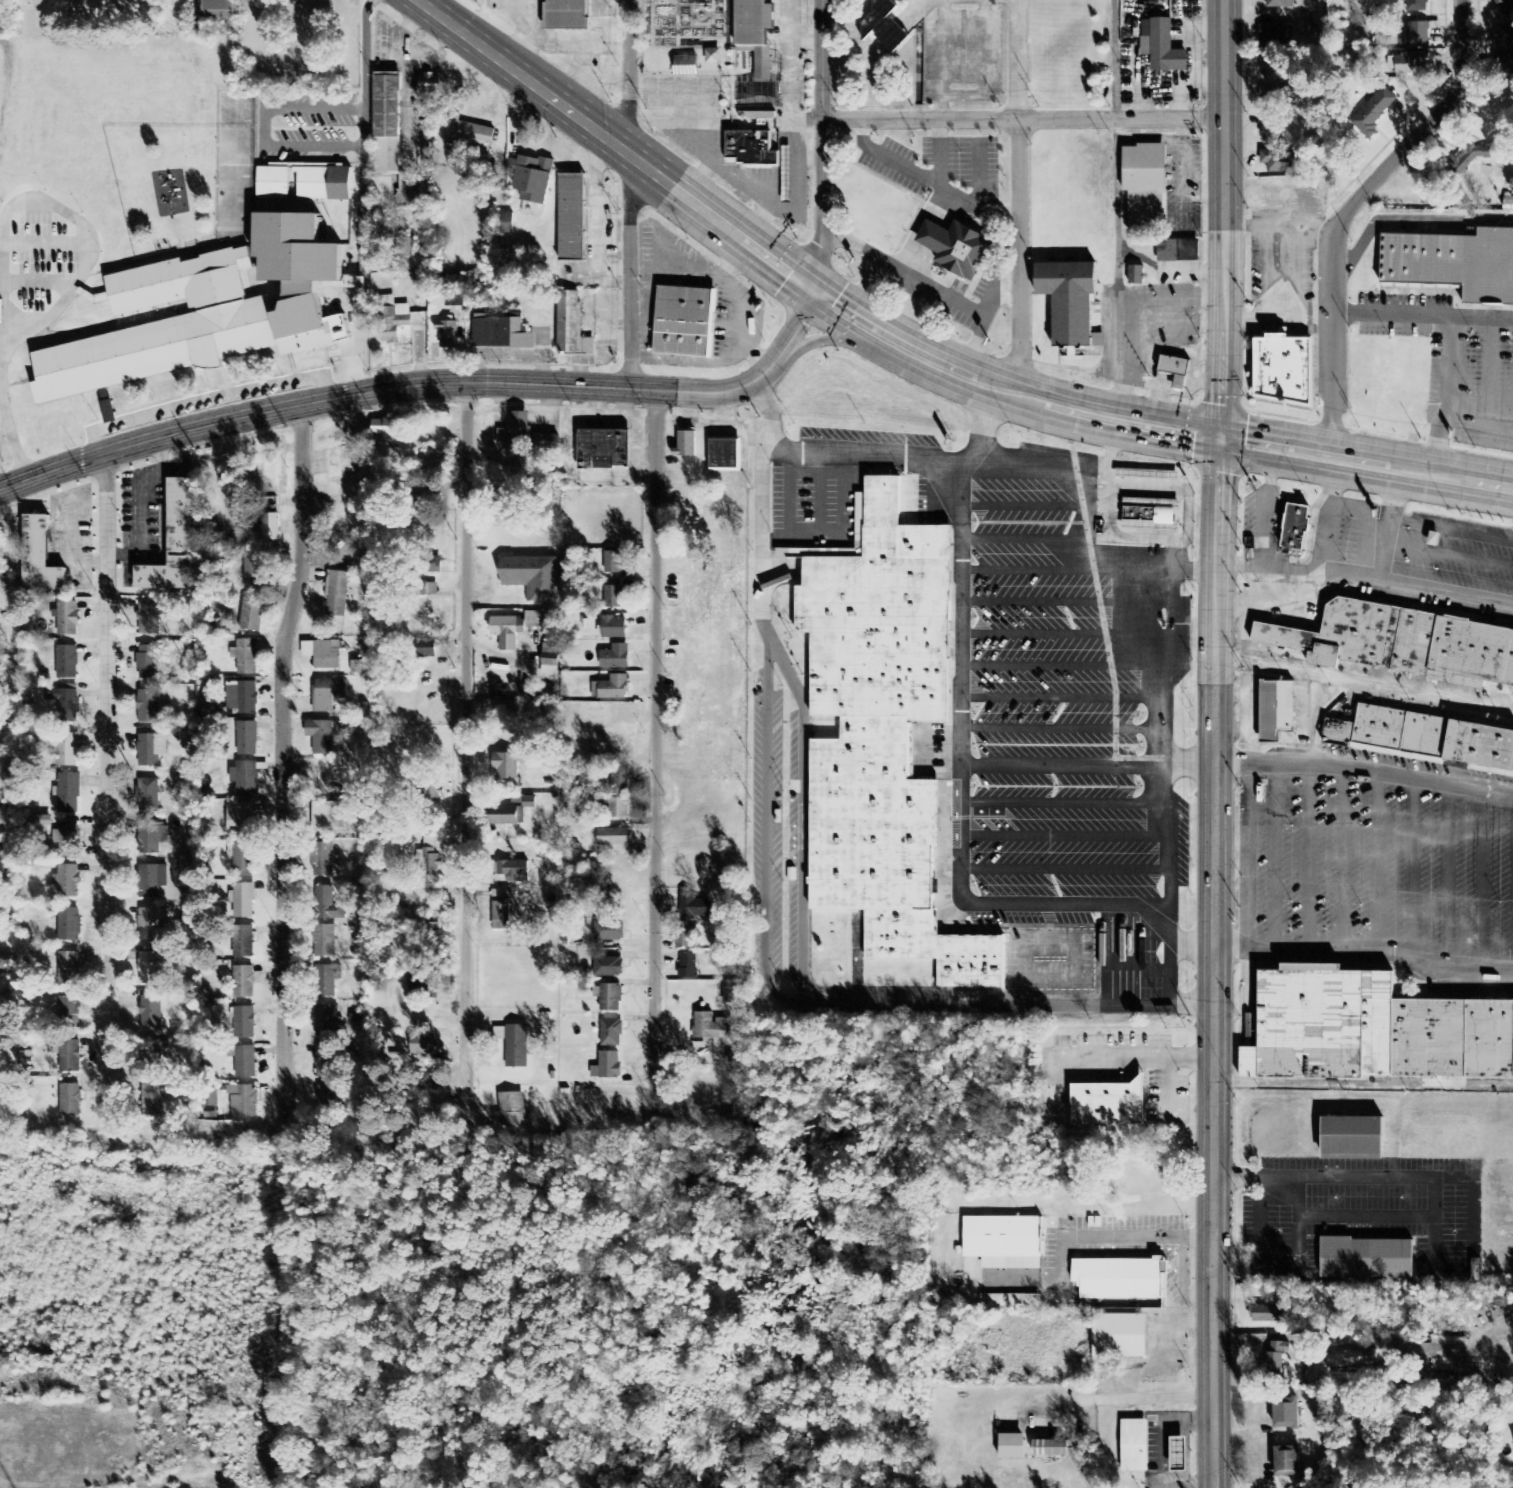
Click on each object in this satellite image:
building: (1398, 0)
building: (1281, 4)
building: (1416, 6)
building: (1505, 7)
building: (219, 12)
building: (569, 16)
building: (886, 26)
building: (1417, 35)
building: (1276, 37)
building: (1504, 39)
building: (1162, 47)
building: (757, 59)
building: (1412, 64)
building: (1271, 66)
building: (429, 88)
building: (1272, 95)
building: (1375, 111)
road: (1022, 117)
road: (261, 129)
building: (468, 133)
building: (1271, 134)
building: (389, 143)
road: (820, 143)
building: (752, 150)
building: (1470, 157)
building: (1279, 161)
building: (532, 178)
building: (273, 183)
building: (324, 184)
building: (787, 185)
building: (1142, 186)
road: (628, 193)
road: (361, 195)
road: (1016, 197)
road: (1348, 209)
building: (568, 216)
road: (1224, 220)
building: (507, 223)
road: (85, 228)
building: (404, 245)
road: (46, 247)
building: (1175, 249)
building: (959, 250)
building: (1452, 263)
building: (1137, 275)
traffic signals: (799, 281)
road: (39, 282)
traffic signals: (817, 295)
building: (456, 299)
building: (1067, 301)
building: (207, 315)
road: (26, 316)
building: (396, 320)
building: (682, 321)
building: (569, 324)
building: (447, 335)
road: (844, 337)
road: (915, 355)
building: (1173, 367)
building: (1280, 368)
road: (424, 383)
road: (203, 399)
building: (389, 428)
building: (517, 430)
road: (11, 436)
traffic signals: (1223, 442)
building: (686, 445)
building: (606, 450)
building: (725, 456)
road: (1009, 466)
road: (1093, 474)
building: (1148, 474)
road: (788, 497)
road: (819, 498)
building: (510, 506)
road: (1022, 509)
road: (1266, 509)
building: (1148, 512)
building: (176, 516)
road: (1387, 524)
building: (1306, 527)
building: (271, 528)
road: (1451, 532)
road: (841, 537)
road: (1154, 540)
road: (1025, 541)
building: (36, 554)
road: (1172, 555)
road: (1448, 556)
building: (614, 563)
building: (437, 565)
road: (1027, 570)
building: (159, 573)
building: (255, 573)
building: (532, 574)
road: (1367, 579)
building: (337, 590)
building: (613, 597)
road: (1066, 603)
building: (252, 615)
building: (67, 619)
building: (149, 619)
building: (614, 628)
building: (513, 630)
road: (1065, 637)
building: (1399, 641)
building: (427, 649)
building: (323, 654)
building: (246, 657)
building: (616, 658)
building: (550, 660)
building: (150, 662)
building: (67, 663)
building: (356, 668)
road: (1064, 668)
road: (1366, 683)
building: (611, 689)
building: (1512, 689)
building: (328, 694)
road: (1064, 697)
building: (248, 699)
building: (64, 704)
building: (150, 706)
building: (1274, 707)
road: (1064, 729)
building: (880, 732)
building: (1422, 736)
building: (321, 737)
building: (247, 739)
road: (466, 746)
building: (64, 748)
building: (151, 750)
road: (654, 751)
road: (283, 755)
road: (1237, 766)
road: (106, 779)
building: (245, 779)
building: (620, 779)
building: (69, 795)
building: (148, 796)
road: (1064, 804)
building: (622, 809)
road: (801, 813)
building: (328, 817)
building: (240, 818)
building: (510, 818)
building: (42, 822)
building: (152, 837)
building: (614, 838)
road: (1065, 838)
building: (69, 839)
building: (430, 843)
building: (242, 859)
road: (1274, 859)
road: (1309, 861)
road: (1341, 865)
building: (432, 866)
road: (1379, 870)
road: (1064, 871)
building: (515, 872)
road: (1410, 874)
road: (1447, 879)
building: (69, 882)
building: (152, 882)
road: (1483, 884)
building: (510, 894)
building: (244, 902)
building: (328, 906)
building: (694, 907)
road: (982, 908)
building: (501, 913)
building: (428, 923)
building: (150, 925)
building: (70, 926)
building: (609, 932)
road: (1061, 938)
building: (685, 939)
building: (326, 941)
building: (243, 942)
road: (1103, 959)
road: (1215, 964)
building: (689, 967)
building: (609, 968)
road: (1135, 968)
building: (69, 969)
building: (151, 969)
building: (328, 981)
building: (245, 983)
building: (421, 983)
building: (729, 996)
building: (609, 998)
building: (70, 1008)
road: (901, 1009)
building: (152, 1011)
building: (326, 1022)
building: (243, 1024)
building: (1325, 1026)
building: (709, 1027)
building: (611, 1034)
building: (1454, 1041)
building: (422, 1042)
building: (517, 1047)
building: (151, 1052)
building: (70, 1058)
building: (326, 1062)
building: (245, 1063)
building: (608, 1067)
building: (431, 1083)
building: (153, 1100)
building: (70, 1101)
building: (323, 1101)
building: (1104, 1102)
building: (243, 1104)
building: (508, 1111)
building: (1349, 1137)
building: (1001, 1240)
building: (1364, 1256)
building: (1120, 1277)
building: (1266, 1315)
building: (1117, 1334)
building: (1276, 1359)
building: (1352, 1359)
building: (1288, 1414)
building: (1131, 1444)
building: (1014, 1448)
building: (1052, 1450)
building: (1175, 1453)
building: (1290, 1462)

